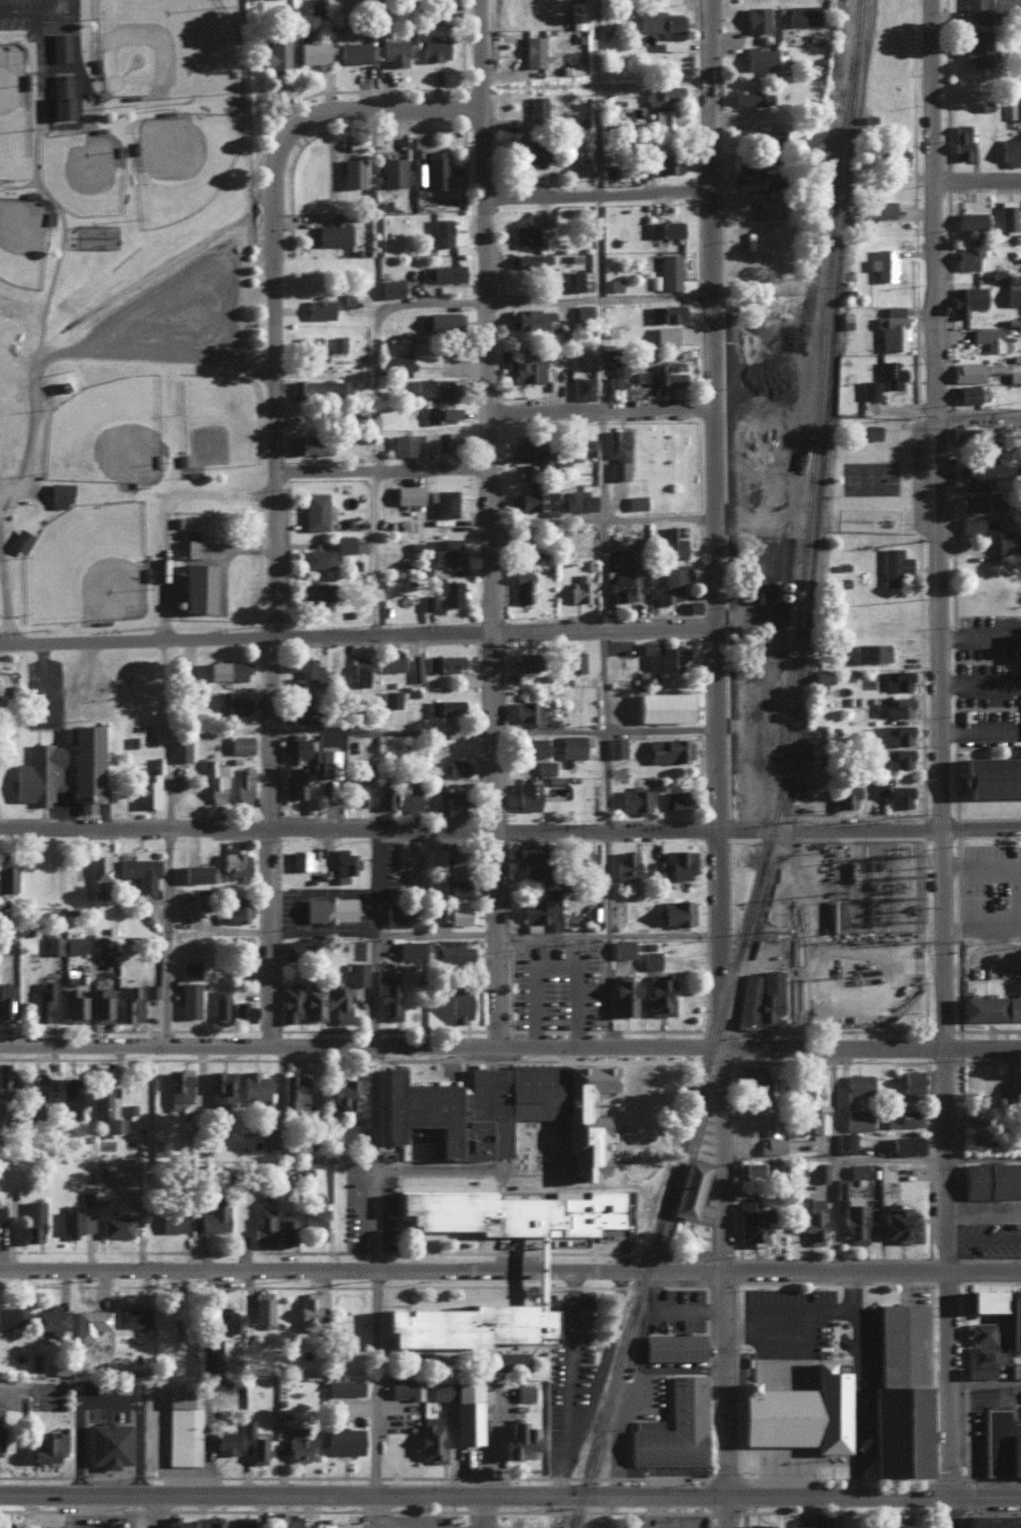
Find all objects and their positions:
building: (670, 1)
building: (313, 7)
building: (576, 7)
building: (974, 9)
road: (38, 11)
building: (801, 14)
building: (755, 18)
building: (660, 20)
building: (669, 44)
building: (59, 46)
park: (165, 46)
building: (977, 47)
building: (433, 48)
building: (533, 50)
building: (312, 51)
building: (352, 51)
building: (393, 51)
building: (275, 53)
building: (759, 57)
building: (1020, 87)
building: (662, 93)
building: (59, 96)
building: (750, 96)
building: (536, 107)
building: (1014, 110)
building: (665, 118)
road: (58, 126)
building: (767, 135)
building: (960, 141)
building: (1010, 151)
building: (895, 153)
building: (525, 154)
park: (183, 155)
building: (666, 163)
building: (750, 164)
building: (436, 168)
park: (83, 170)
building: (392, 171)
building: (353, 172)
road: (982, 185)
road: (609, 196)
building: (766, 207)
building: (877, 208)
building: (544, 217)
building: (970, 220)
building: (663, 228)
building: (440, 231)
building: (331, 234)
building: (523, 235)
park: (23, 238)
building: (967, 254)
building: (529, 261)
building: (883, 263)
building: (443, 272)
building: (666, 272)
building: (579, 280)
building: (614, 283)
building: (389, 287)
building: (1013, 292)
building: (966, 299)
building: (347, 300)
road: (610, 301)
building: (319, 308)
building: (583, 311)
building: (664, 313)
building: (531, 318)
building: (441, 320)
building: (891, 328)
building: (664, 335)
building: (990, 338)
road: (386, 339)
building: (337, 343)
building: (309, 345)
building: (402, 361)
building: (525, 368)
building: (966, 371)
building: (616, 373)
building: (664, 373)
building: (890, 373)
building: (1014, 376)
building: (303, 386)
building: (340, 387)
building: (432, 387)
building: (581, 387)
road: (44, 388)
building: (868, 388)
building: (966, 393)
road: (612, 412)
building: (438, 414)
park: (219, 420)
road: (982, 421)
building: (870, 431)
park: (119, 432)
building: (985, 433)
building: (435, 442)
building: (402, 444)
building: (579, 444)
building: (308, 445)
building: (522, 449)
building: (617, 452)
road: (614, 467)
road: (393, 471)
building: (974, 472)
road: (285, 488)
park: (889, 488)
building: (407, 494)
building: (58, 495)
road: (5, 496)
building: (550, 499)
building: (525, 500)
building: (579, 500)
building: (635, 501)
building: (975, 501)
building: (443, 502)
building: (314, 510)
road: (173, 518)
road: (614, 520)
road: (503, 524)
road: (726, 525)
building: (976, 525)
building: (19, 540)
building: (1006, 542)
building: (344, 543)
building: (669, 545)
building: (191, 547)
building: (448, 552)
building: (617, 557)
building: (318, 558)
building: (894, 566)
park: (100, 567)
building: (670, 583)
building: (522, 584)
building: (194, 588)
building: (578, 588)
building: (620, 588)
building: (450, 592)
building: (312, 594)
park: (3, 598)
building: (428, 601)
building: (692, 605)
road: (363, 638)
road: (980, 638)
building: (869, 650)
building: (665, 655)
building: (390, 660)
building: (573, 660)
building: (521, 661)
building: (443, 662)
building: (302, 664)
building: (414, 665)
building: (226, 670)
building: (358, 671)
building: (821, 678)
building: (897, 678)
road: (981, 684)
building: (355, 695)
building: (390, 698)
building: (233, 703)
building: (898, 704)
building: (444, 705)
building: (663, 705)
building: (296, 708)
building: (531, 712)
road: (505, 729)
building: (894, 733)
road: (982, 734)
building: (240, 743)
building: (571, 744)
building: (529, 745)
building: (615, 745)
building: (293, 746)
building: (179, 748)
building: (669, 748)
building: (898, 756)
building: (322, 760)
road: (387, 760)
road: (944, 764)
building: (455, 766)
building: (544, 766)
building: (36, 770)
building: (989, 773)
railway: (794, 776)
building: (214, 781)
building: (293, 781)
building: (243, 784)
building: (148, 786)
building: (356, 789)
building: (891, 790)
building: (846, 793)
building: (526, 794)
building: (397, 795)
building: (633, 798)
building: (676, 798)
building: (447, 801)
road: (510, 828)
building: (439, 857)
building: (300, 858)
building: (233, 861)
building: (344, 861)
building: (527, 862)
building: (585, 862)
building: (679, 862)
building: (626, 863)
building: (657, 866)
road: (982, 866)
building: (100, 868)
building: (853, 869)
building: (138, 870)
building: (193, 871)
building: (7, 875)
building: (455, 884)
building: (191, 907)
building: (236, 907)
building: (328, 907)
building: (675, 910)
building: (616, 911)
building: (398, 912)
building: (455, 913)
building: (540, 913)
building: (836, 913)
road: (983, 931)
road: (675, 934)
road: (452, 935)
road: (178, 939)
building: (2, 942)
building: (73, 943)
building: (103, 943)
building: (53, 944)
building: (621, 946)
building: (409, 947)
building: (451, 948)
road: (559, 952)
building: (650, 958)
building: (357, 972)
building: (151, 990)
building: (386, 990)
road: (621, 992)
building: (657, 993)
building: (623, 994)
building: (759, 997)
building: (189, 998)
building: (290, 999)
building: (325, 999)
building: (6, 1000)
building: (44, 1002)
building: (219, 1002)
building: (101, 1003)
building: (131, 1003)
building: (458, 1004)
building: (74, 1005)
building: (989, 1006)
building: (241, 1010)
road: (510, 1049)
road: (926, 1060)
building: (911, 1080)
building: (30, 1082)
building: (754, 1082)
building: (1018, 1084)
building: (252, 1085)
building: (178, 1086)
building: (220, 1086)
building: (853, 1086)
building: (293, 1090)
road: (959, 1090)
building: (340, 1092)
building: (71, 1099)
building: (811, 1099)
building: (471, 1105)
road: (736, 1107)
road: (926, 1107)
building: (106, 1110)
building: (582, 1117)
building: (903, 1117)
building: (857, 1119)
building: (348, 1128)
building: (415, 1132)
building: (770, 1135)
building: (844, 1141)
building: (905, 1143)
road: (835, 1156)
road: (387, 1160)
road: (831, 1161)
road: (927, 1166)
road: (444, 1168)
building: (857, 1169)
building: (817, 1171)
building: (991, 1178)
building: (689, 1187)
building: (508, 1211)
building: (213, 1212)
building: (2, 1213)
building: (851, 1213)
building: (812, 1218)
building: (32, 1219)
road: (961, 1219)
building: (76, 1220)
building: (171, 1220)
building: (750, 1220)
building: (896, 1220)
building: (115, 1225)
building: (263, 1226)
building: (285, 1228)
road: (991, 1257)
road: (835, 1258)
road: (925, 1258)
road: (510, 1272)
road: (706, 1279)
road: (771, 1280)
road: (897, 1280)
road: (962, 1280)
road: (851, 1281)
building: (533, 1286)
road: (724, 1288)
road: (846, 1291)
road: (857, 1291)
road: (962, 1299)
building: (982, 1299)
building: (262, 1307)
building: (311, 1309)
building: (12, 1315)
building: (131, 1315)
building: (1012, 1316)
building: (49, 1317)
building: (222, 1320)
building: (89, 1322)
building: (466, 1324)
road: (930, 1325)
road: (734, 1329)
building: (57, 1331)
building: (980, 1331)
road: (856, 1335)
building: (249, 1340)
building: (673, 1345)
building: (210, 1353)
building: (981, 1358)
building: (508, 1359)
road: (604, 1361)
road: (931, 1379)
road: (379, 1382)
road: (964, 1382)
road: (566, 1383)
road: (19, 1384)
building: (342, 1386)
building: (398, 1387)
building: (440, 1389)
building: (522, 1391)
building: (898, 1391)
building: (795, 1410)
building: (466, 1411)
road: (933, 1417)
road: (735, 1419)
building: (672, 1425)
building: (181, 1427)
road: (965, 1432)
building: (431, 1437)
building: (342, 1439)
building: (516, 1440)
building: (225, 1441)
building: (253, 1442)
building: (1000, 1442)
building: (297, 1443)
building: (45, 1444)
building: (0, 1457)
road: (930, 1463)
road: (724, 1476)
road: (994, 1476)
road: (784, 1477)
road: (831, 1477)
road: (854, 1477)
road: (930, 1477)
road: (893, 1478)
road: (476, 1492)
road: (708, 1493)
road: (741, 1493)
road: (987, 1494)
road: (167, 1510)
road: (371, 1510)
road: (495, 1510)
road: (793, 1510)
road: (725, 1511)
road: (752, 1511)
road: (783, 1511)
road: (837, 1511)
road: (995, 1512)
building: (281, 1519)
road: (968, 1520)
building: (992, 1520)
building: (212, 1521)
building: (239, 1521)
building: (176, 1522)
building: (896, 1522)
building: (2, 1524)
building: (756, 1525)
building: (807, 1526)
building: (35, 1527)

